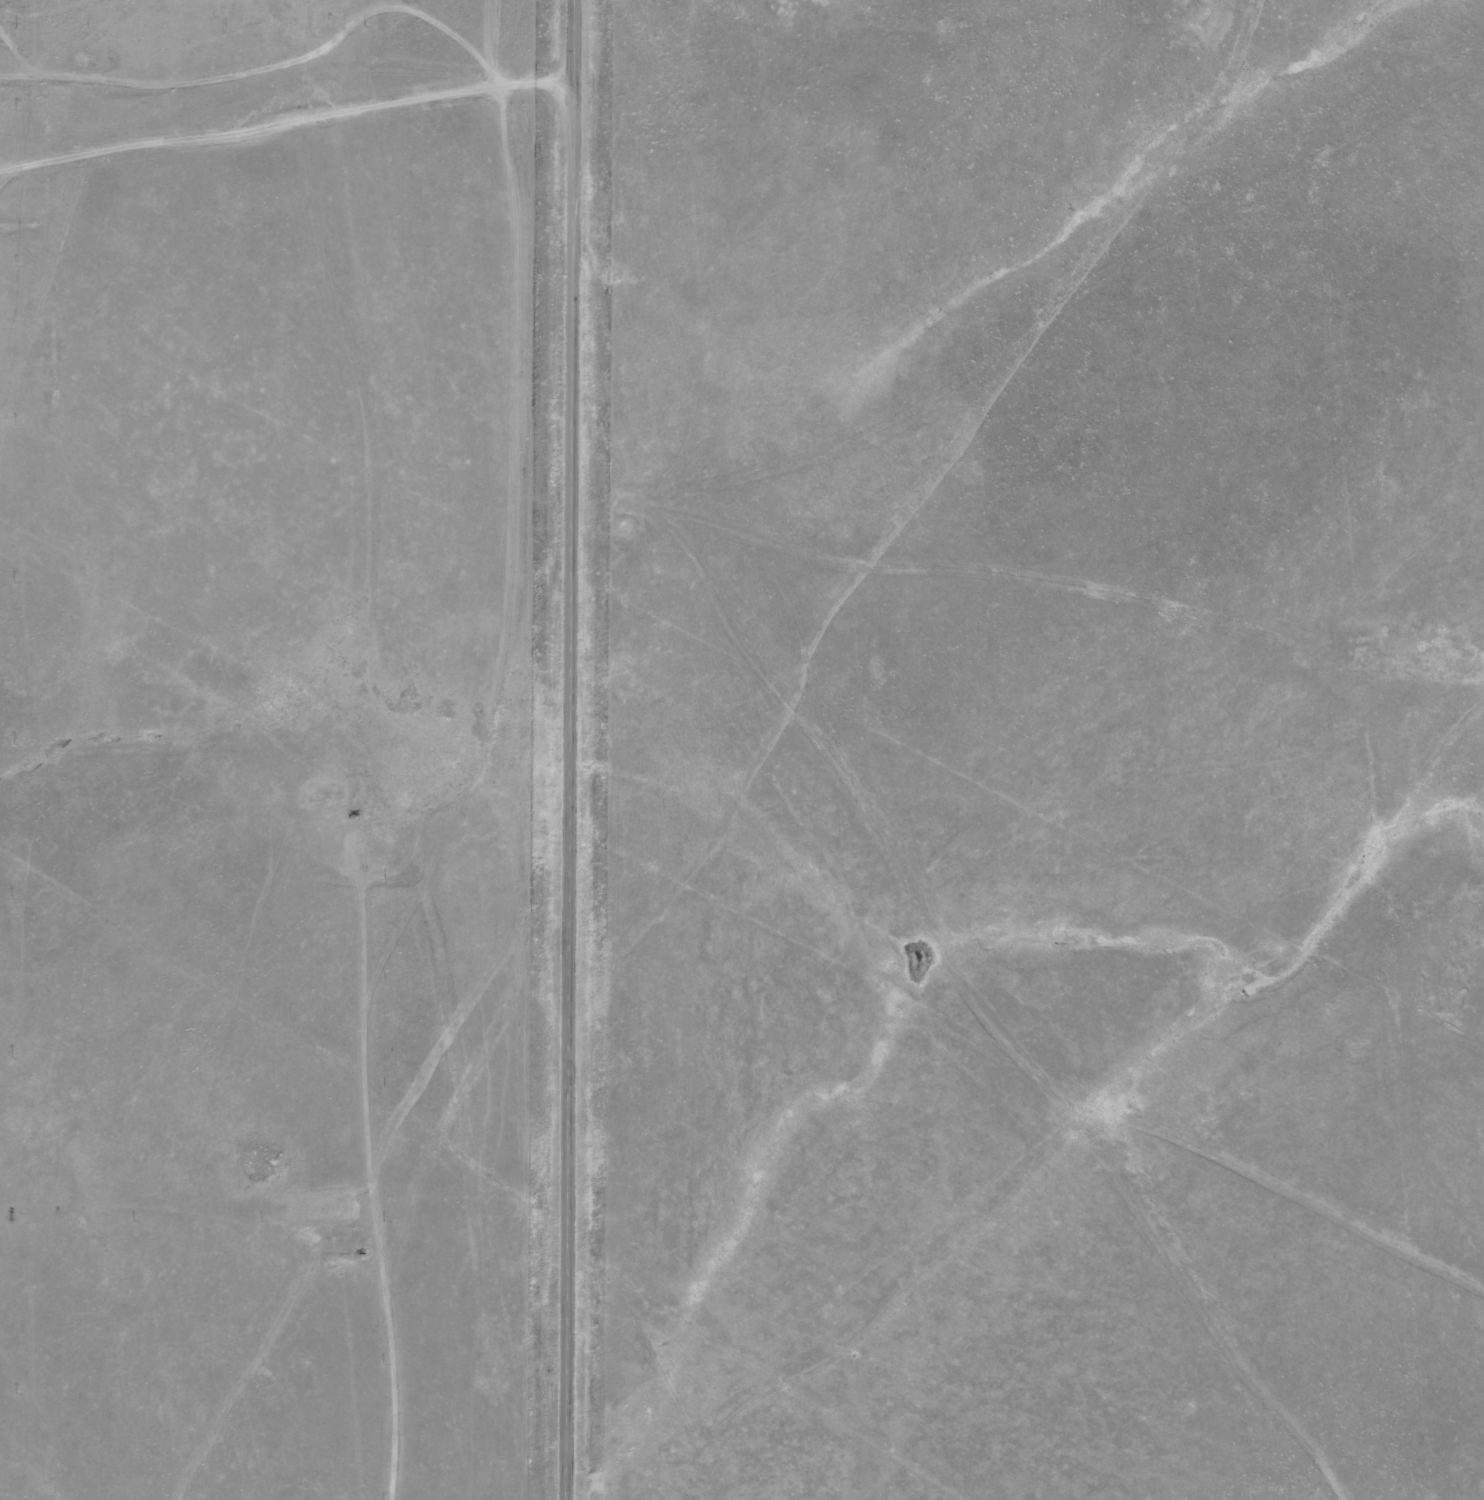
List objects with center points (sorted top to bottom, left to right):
road: (534, 136)
road: (320, 173)
road: (11, 258)
road: (572, 750)

